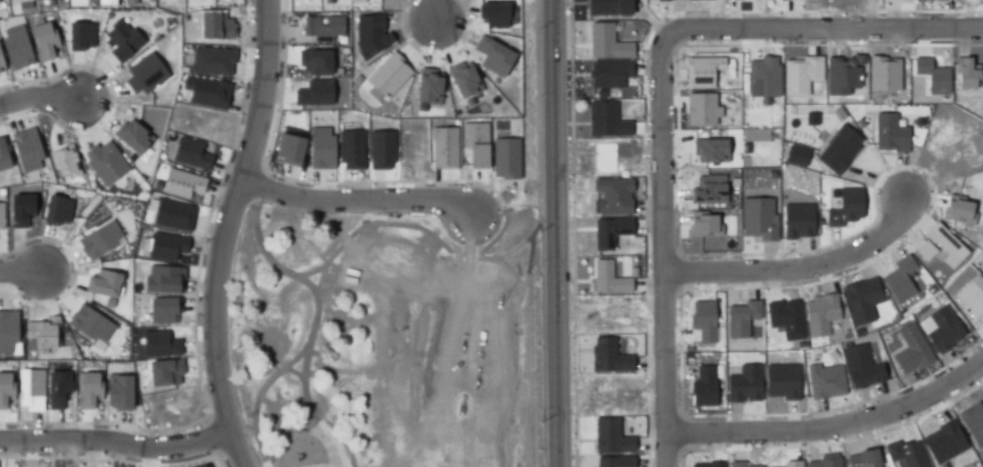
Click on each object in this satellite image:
building: (1, 0)
building: (651, 0)
building: (686, 0)
building: (936, 0)
building: (23, 3)
building: (609, 6)
road: (438, 7)
building: (493, 16)
building: (215, 27)
building: (321, 28)
building: (80, 35)
building: (369, 36)
building: (43, 40)
building: (122, 41)
building: (605, 44)
building: (16, 47)
building: (492, 57)
building: (318, 60)
building: (210, 62)
building: (1, 66)
building: (701, 71)
building: (609, 72)
building: (145, 73)
building: (883, 73)
building: (965, 73)
building: (387, 75)
building: (799, 76)
building: (841, 76)
building: (933, 76)
building: (762, 80)
building: (462, 81)
building: (427, 86)
road: (39, 92)
building: (316, 92)
building: (208, 94)
road: (663, 94)
building: (950, 99)
building: (699, 111)
building: (605, 121)
building: (889, 134)
building: (132, 137)
building: (474, 144)
building: (443, 147)
building: (27, 148)
building: (351, 148)
building: (319, 149)
building: (288, 150)
building: (381, 150)
building: (709, 150)
building: (838, 151)
building: (189, 155)
building: (795, 156)
building: (3, 157)
building: (604, 157)
building: (505, 159)
building: (64, 161)
building: (106, 162)
building: (181, 184)
road: (362, 191)
building: (707, 191)
building: (613, 197)
building: (58, 208)
building: (845, 208)
building: (21, 210)
building: (957, 211)
building: (1, 215)
building: (172, 216)
building: (757, 218)
road: (409, 219)
building: (797, 220)
building: (702, 224)
road: (475, 229)
building: (610, 230)
road: (298, 231)
road: (226, 233)
road: (559, 233)
building: (98, 240)
road: (525, 242)
road: (266, 243)
building: (943, 245)
road: (536, 247)
building: (164, 248)
building: (923, 251)
road: (311, 260)
road: (20, 265)
building: (981, 267)
building: (632, 273)
road: (801, 274)
building: (160, 280)
building: (607, 280)
building: (897, 280)
building: (102, 284)
building: (973, 299)
building: (860, 301)
building: (162, 310)
building: (821, 313)
building: (740, 320)
building: (785, 320)
building: (702, 322)
building: (89, 324)
building: (942, 329)
building: (6, 330)
building: (42, 334)
park: (391, 342)
building: (160, 344)
building: (910, 350)
road: (275, 352)
building: (608, 358)
building: (862, 367)
building: (836, 370)
building: (165, 372)
building: (781, 382)
building: (744, 384)
building: (703, 387)
building: (5, 388)
building: (58, 388)
building: (29, 389)
building: (87, 390)
building: (118, 392)
road: (327, 409)
road: (319, 421)
building: (973, 422)
road: (832, 428)
road: (118, 437)
building: (610, 439)
building: (942, 441)
road: (271, 448)
building: (904, 454)
building: (863, 459)
building: (824, 462)
building: (614, 463)
building: (790, 464)
building: (710, 465)
building: (734, 465)
building: (204, 466)
building: (982, 466)

